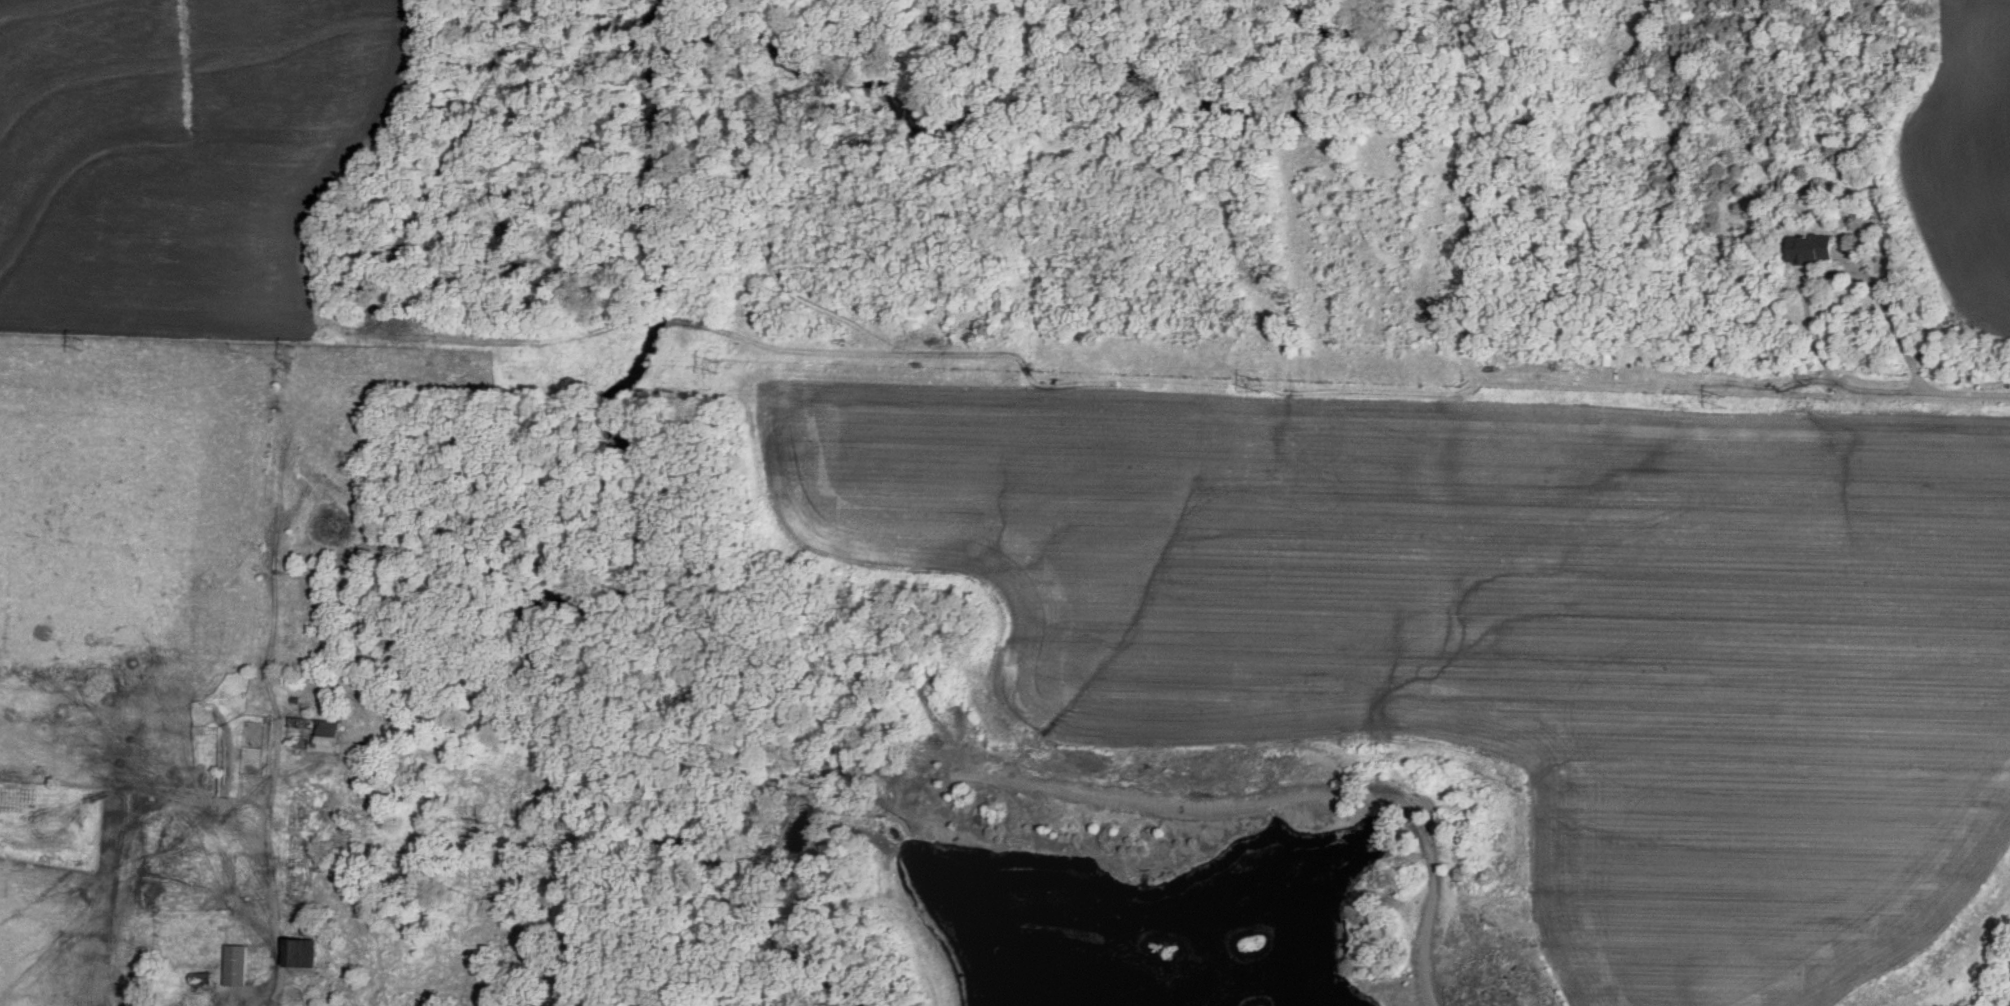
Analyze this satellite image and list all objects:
crop: (190, 158)
building: (1807, 248)
power tower: (86, 346)
power tower: (297, 354)
building: (1605, 358)
power tower: (745, 365)
power tower: (1261, 391)
power tower: (1717, 409)
crop: (1486, 647)
building: (319, 734)
building: (306, 952)
building: (239, 964)

